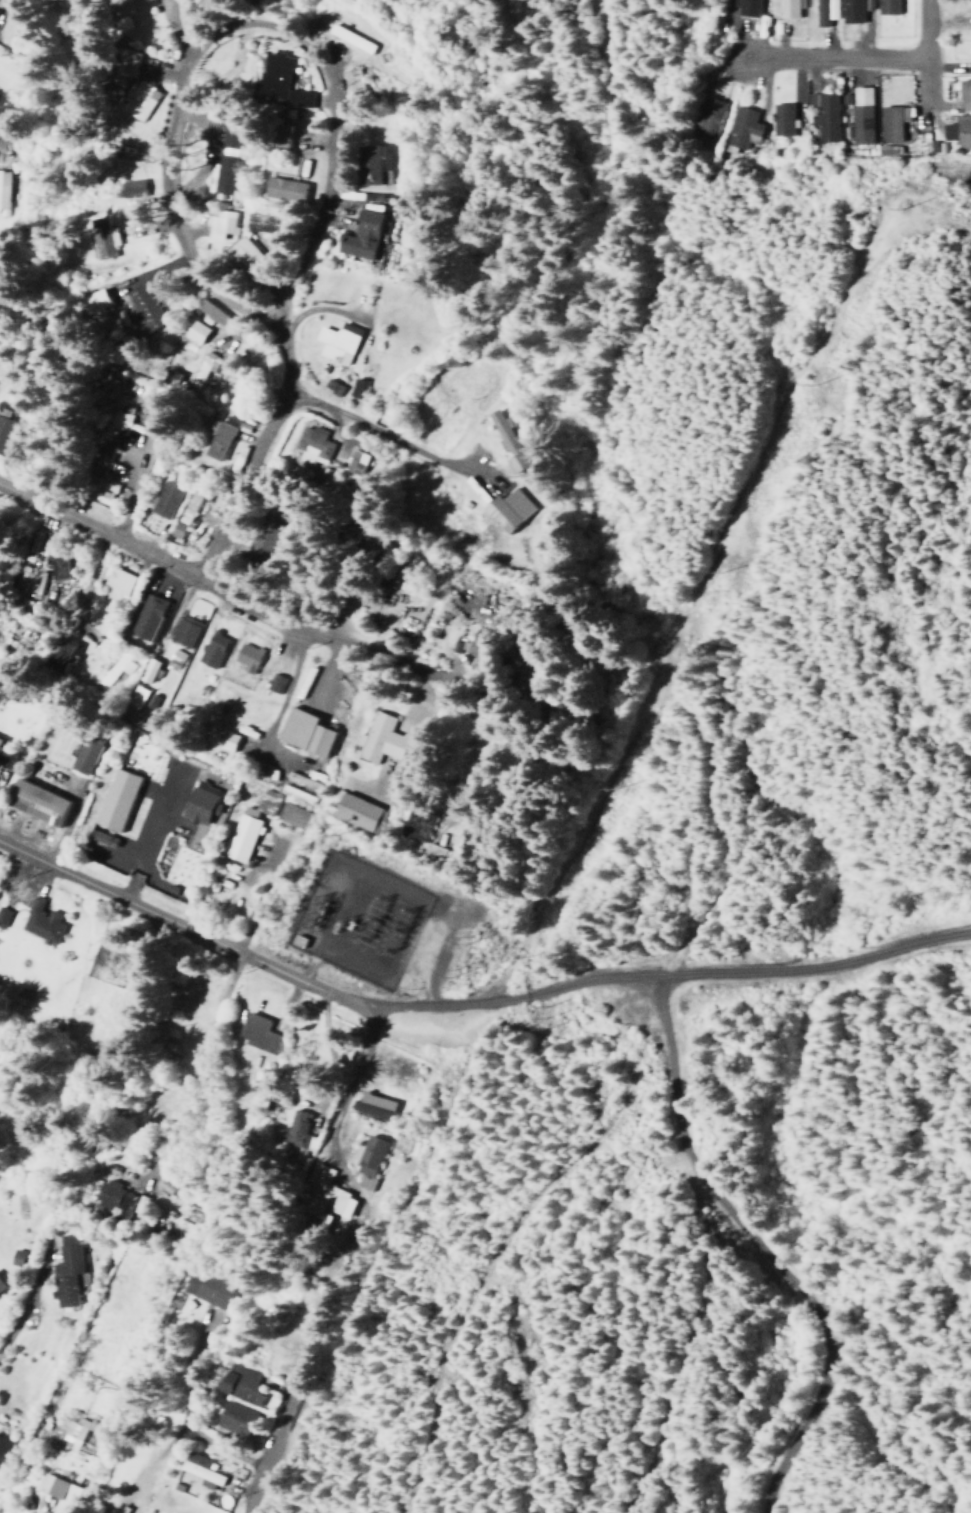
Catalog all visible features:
building: (867, 4)
building: (885, 6)
building: (744, 7)
building: (783, 7)
building: (850, 10)
building: (824, 11)
building: (970, 50)
road: (918, 51)
road: (827, 53)
building: (122, 61)
building: (279, 79)
building: (351, 81)
building: (964, 94)
road: (166, 96)
building: (135, 98)
building: (822, 114)
building: (860, 114)
building: (706, 117)
building: (779, 118)
building: (890, 121)
building: (741, 127)
building: (958, 131)
building: (278, 135)
building: (227, 138)
building: (885, 149)
building: (367, 164)
building: (219, 173)
building: (283, 187)
building: (3, 188)
building: (219, 223)
building: (262, 223)
building: (360, 234)
building: (101, 237)
building: (241, 255)
building: (142, 309)
building: (194, 330)
building: (336, 341)
building: (202, 366)
building: (354, 387)
building: (117, 420)
road: (371, 426)
building: (5, 431)
building: (222, 435)
building: (506, 440)
building: (311, 445)
road: (249, 446)
building: (99, 467)
building: (164, 498)
building: (506, 509)
building: (175, 529)
building: (56, 566)
building: (117, 579)
road: (209, 581)
building: (145, 616)
building: (181, 630)
building: (210, 649)
building: (55, 655)
building: (245, 656)
building: (115, 667)
building: (147, 669)
road: (478, 680)
building: (272, 682)
building: (133, 698)
building: (414, 709)
building: (303, 732)
building: (219, 737)
building: (378, 739)
building: (0, 742)
building: (84, 751)
building: (2, 759)
building: (115, 799)
building: (266, 800)
building: (198, 801)
building: (34, 802)
building: (357, 812)
building: (288, 814)
building: (416, 824)
building: (100, 837)
building: (239, 837)
building: (433, 852)
building: (2, 914)
power substation: (355, 918)
building: (39, 921)
road: (255, 955)
road: (749, 970)
power tower: (447, 973)
power tower: (537, 1017)
building: (258, 1033)
road: (198, 1044)
road: (347, 1079)
building: (371, 1105)
building: (295, 1129)
building: (368, 1154)
building: (364, 1182)
building: (320, 1192)
building: (112, 1196)
building: (64, 1269)
building: (0, 1287)
building: (206, 1287)
road: (18, 1304)
building: (240, 1383)
building: (234, 1417)
road: (278, 1421)
building: (2, 1446)
building: (200, 1469)
building: (57, 1491)

